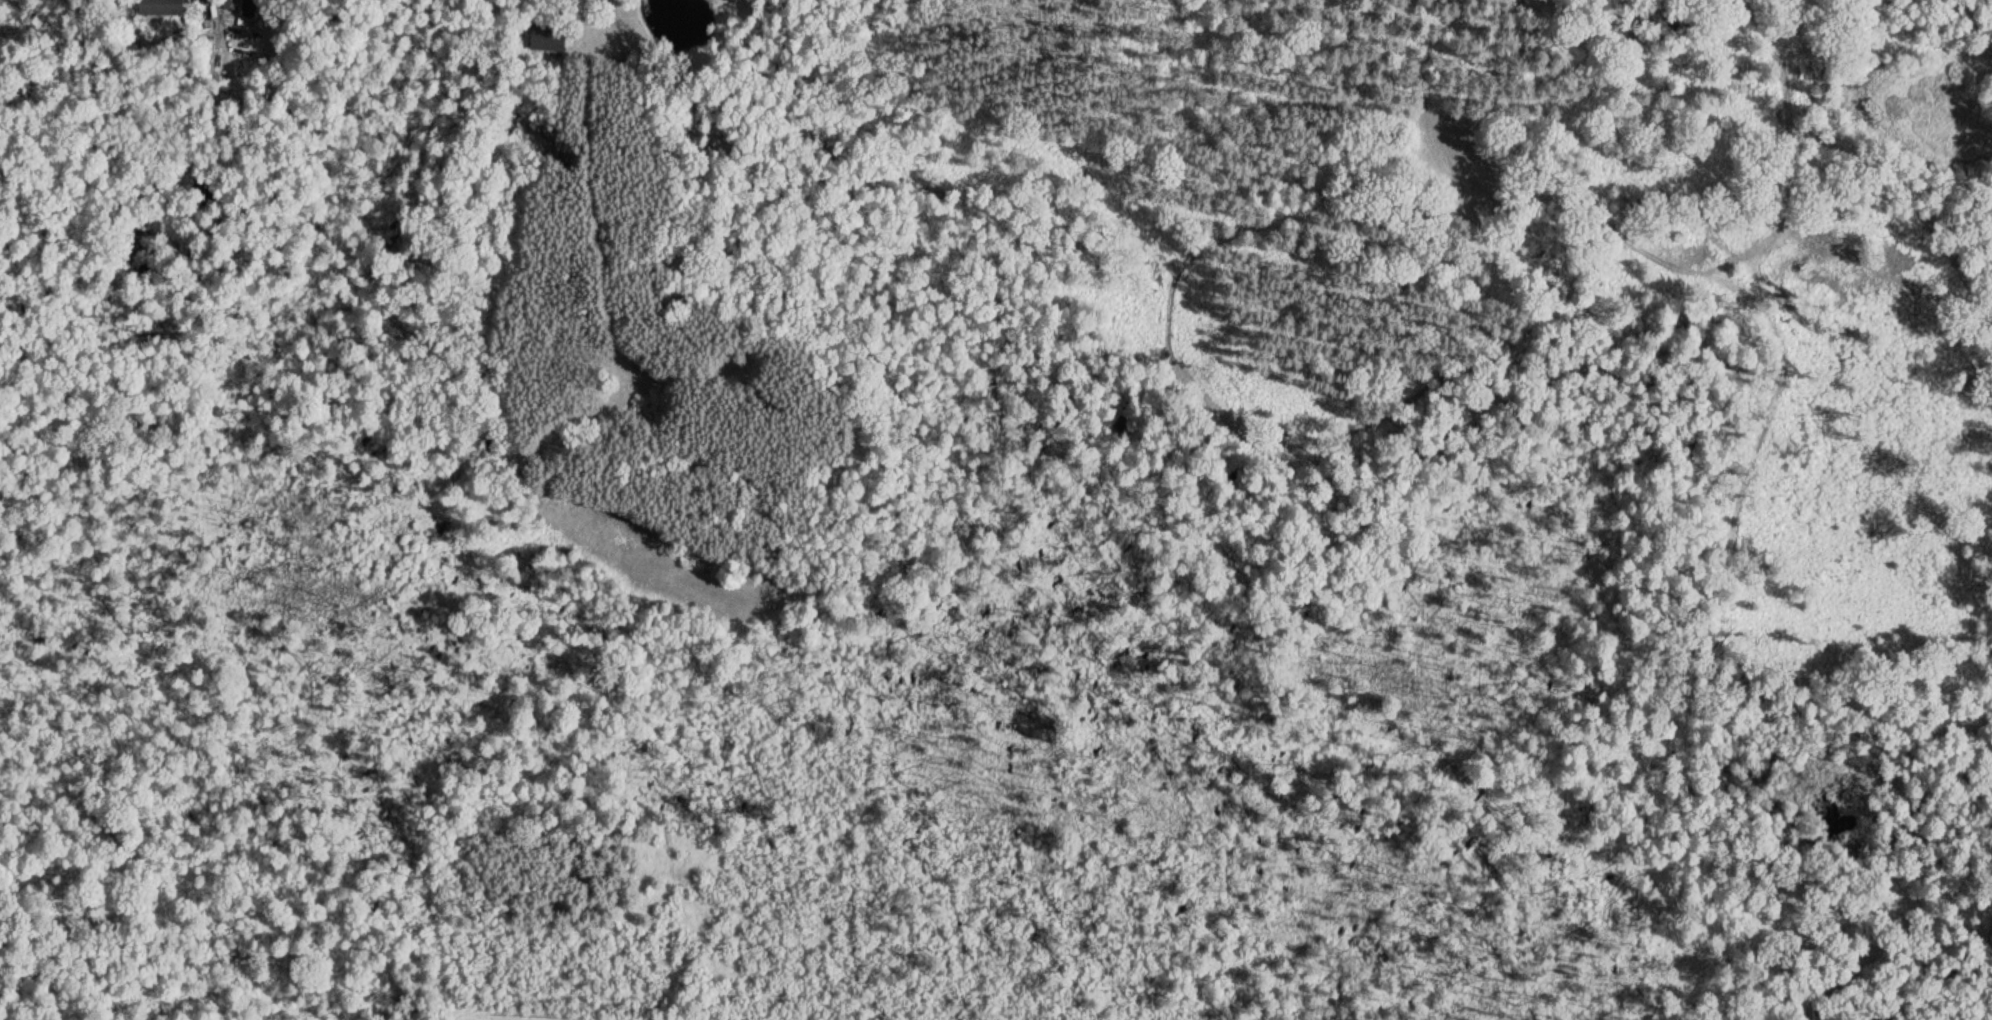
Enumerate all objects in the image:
building: (230, 4)
building: (160, 7)
building: (546, 37)

